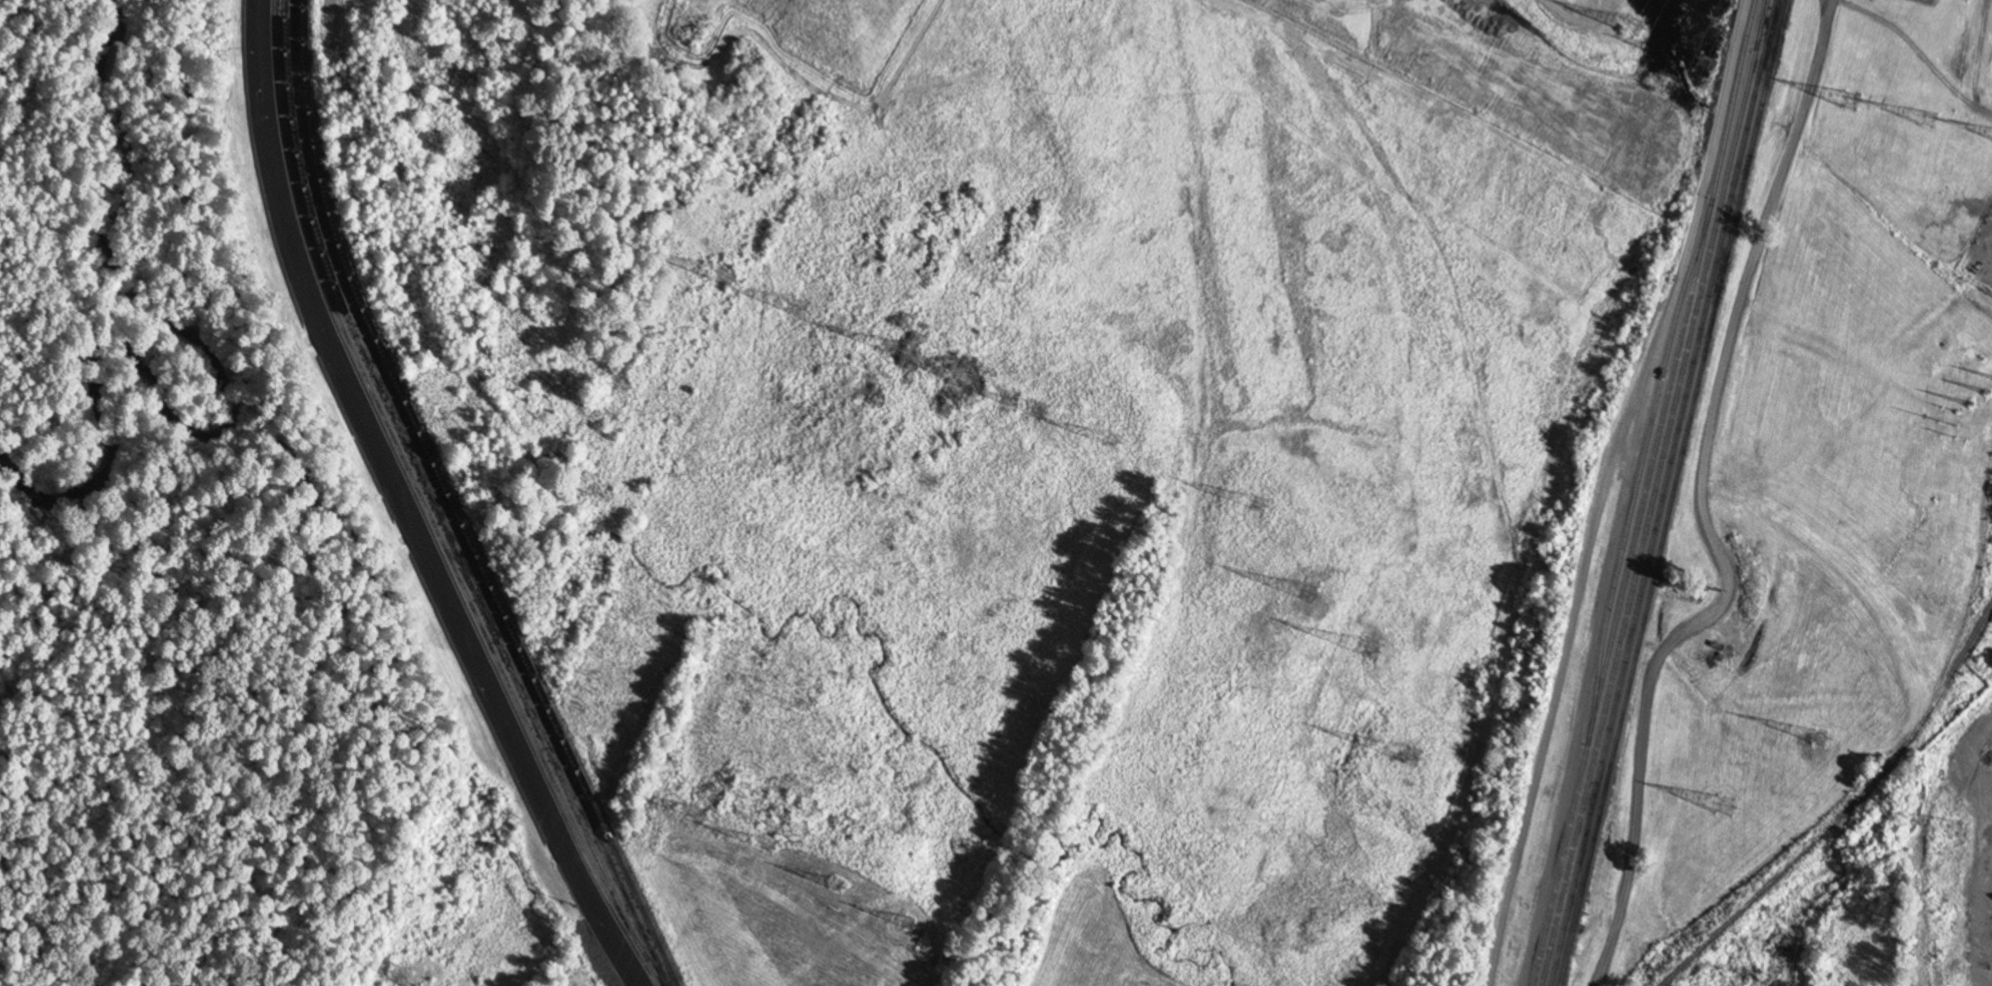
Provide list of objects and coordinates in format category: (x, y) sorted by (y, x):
power substation: (1928, 1)
railway: (1759, 24)
power tower: (1633, 27)
power tower: (1703, 63)
power tower: (1851, 100)
power tower: (1928, 119)
power tower: (726, 279)
power tower: (794, 306)
power tower: (890, 347)
power tower: (962, 377)
power tower: (1986, 392)
power tower: (1978, 428)
power tower: (1039, 432)
power tower: (1109, 439)
railway: (1641, 469)
railway: (1653, 492)
railway: (1662, 492)
railway: (428, 493)
railway: (1645, 493)
railway: (1673, 493)
railway: (443, 503)
railway: (453, 503)
power tower: (1255, 503)
railway: (425, 506)
power tower: (1305, 592)
power tower: (1369, 648)
power tower: (1817, 739)
power tower: (1410, 757)
power tower: (1725, 805)
railway: (1847, 811)
power tower: (692, 812)
power tower: (1954, 830)
power tower: (765, 846)
power tower: (839, 909)
power tower: (906, 924)
power tower: (395, 973)

